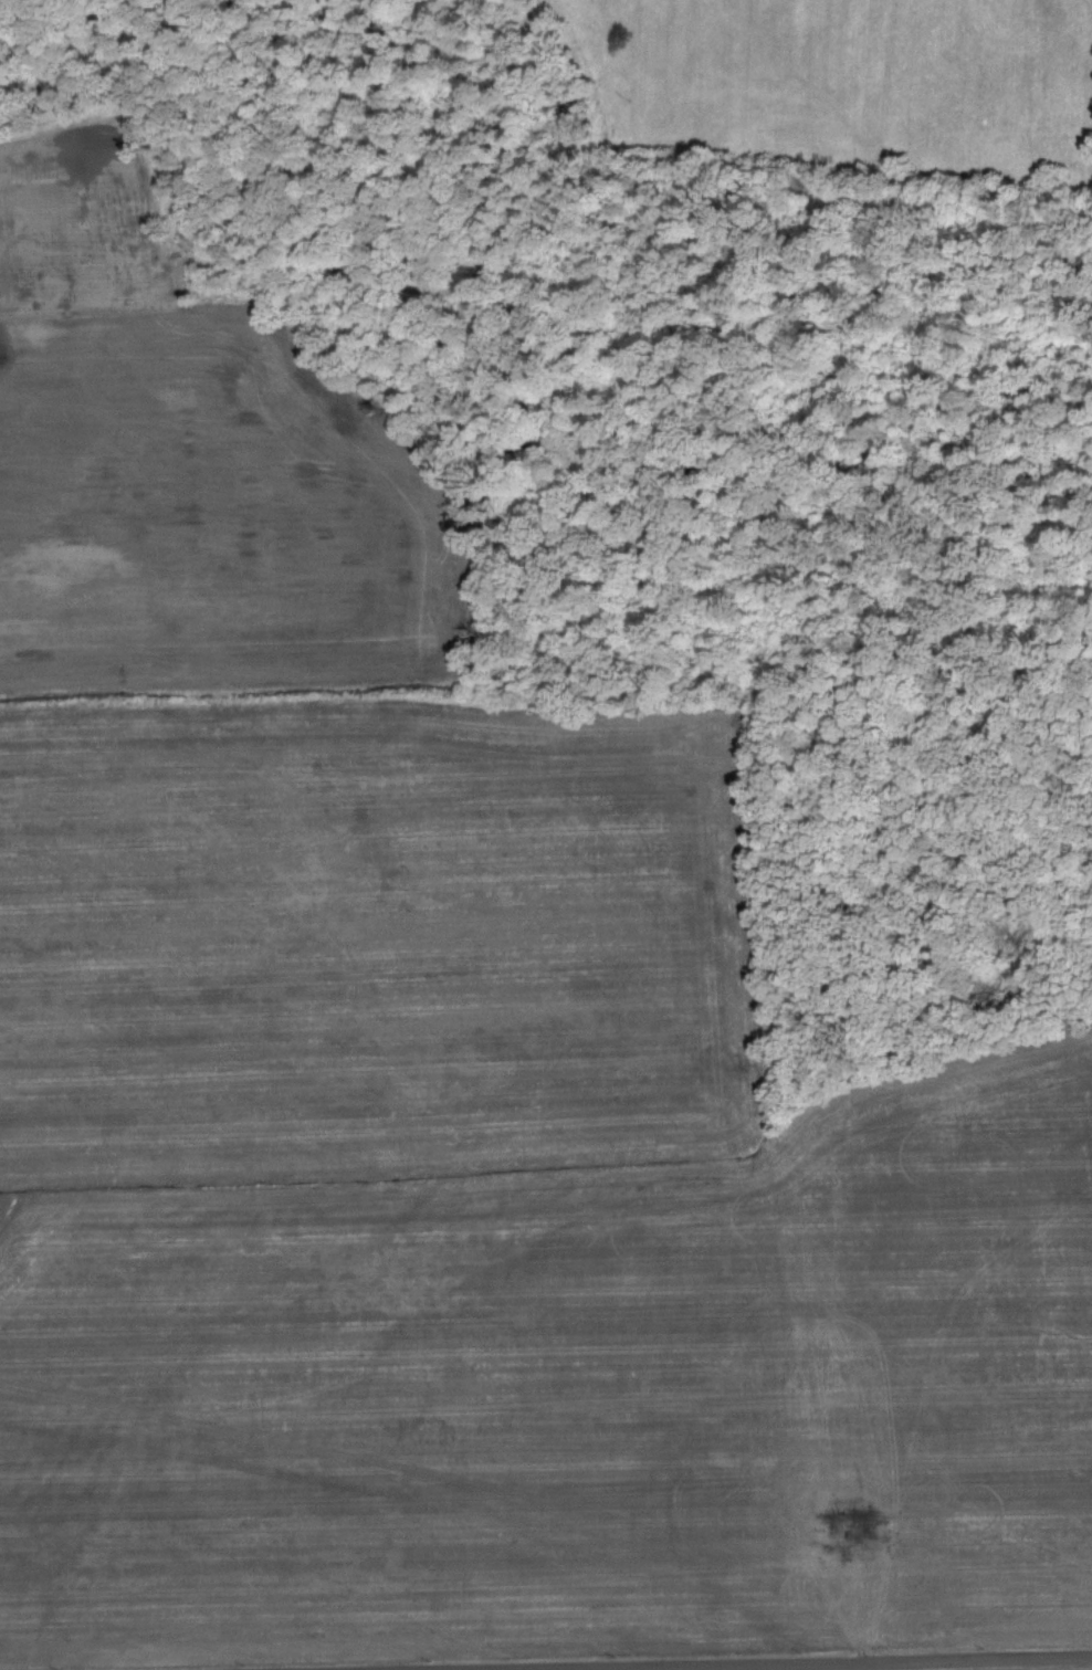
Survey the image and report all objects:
road: (937, 1664)

